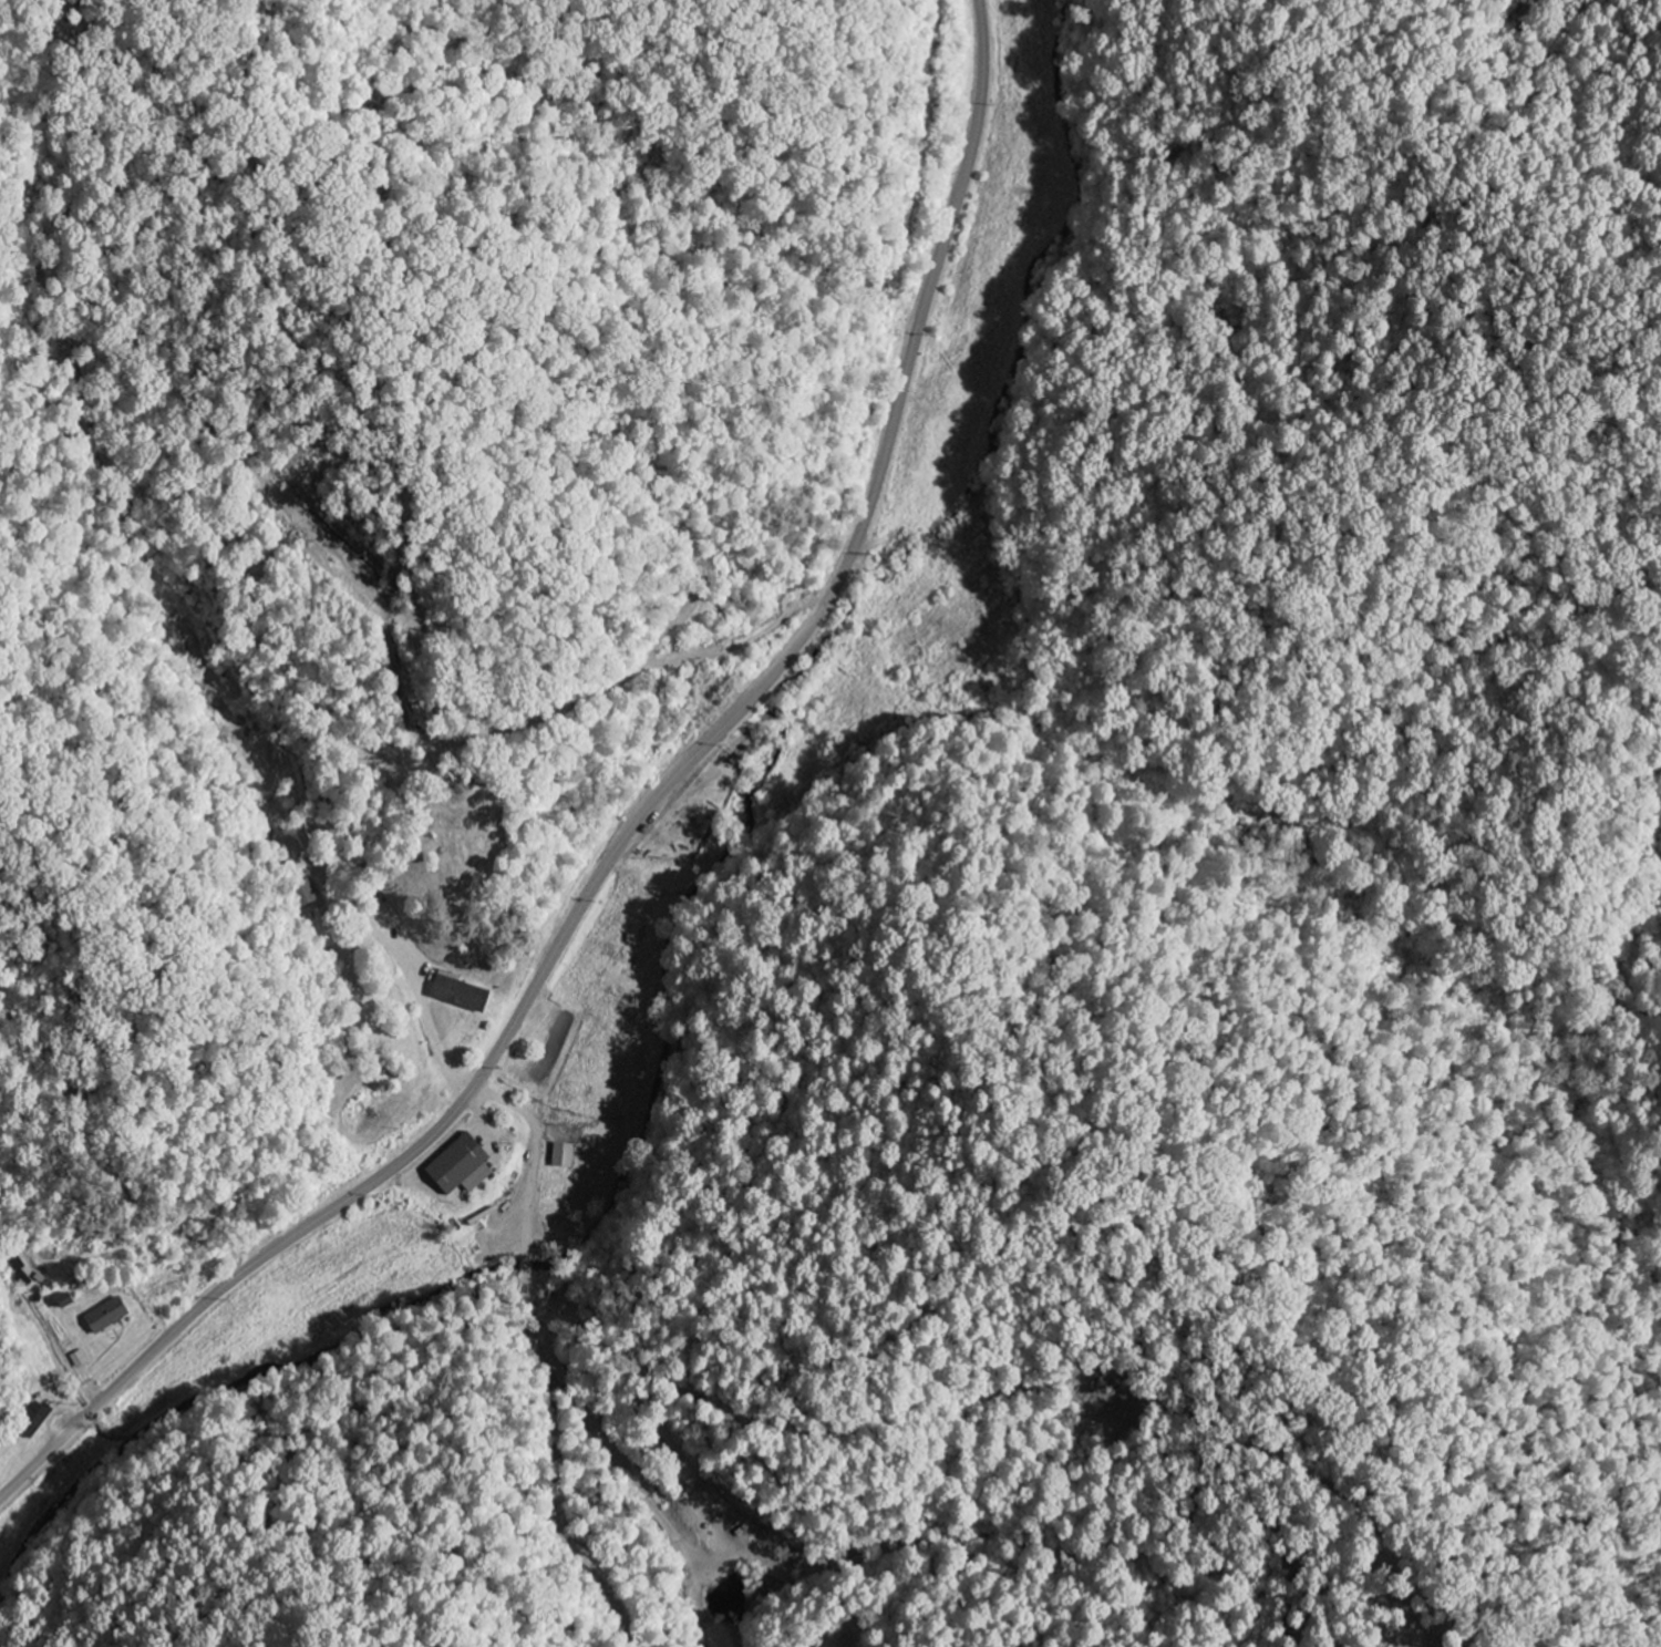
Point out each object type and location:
road: (977, 603)
road: (632, 832)
building: (464, 994)
building: (567, 1156)
building: (468, 1167)
building: (111, 1317)

